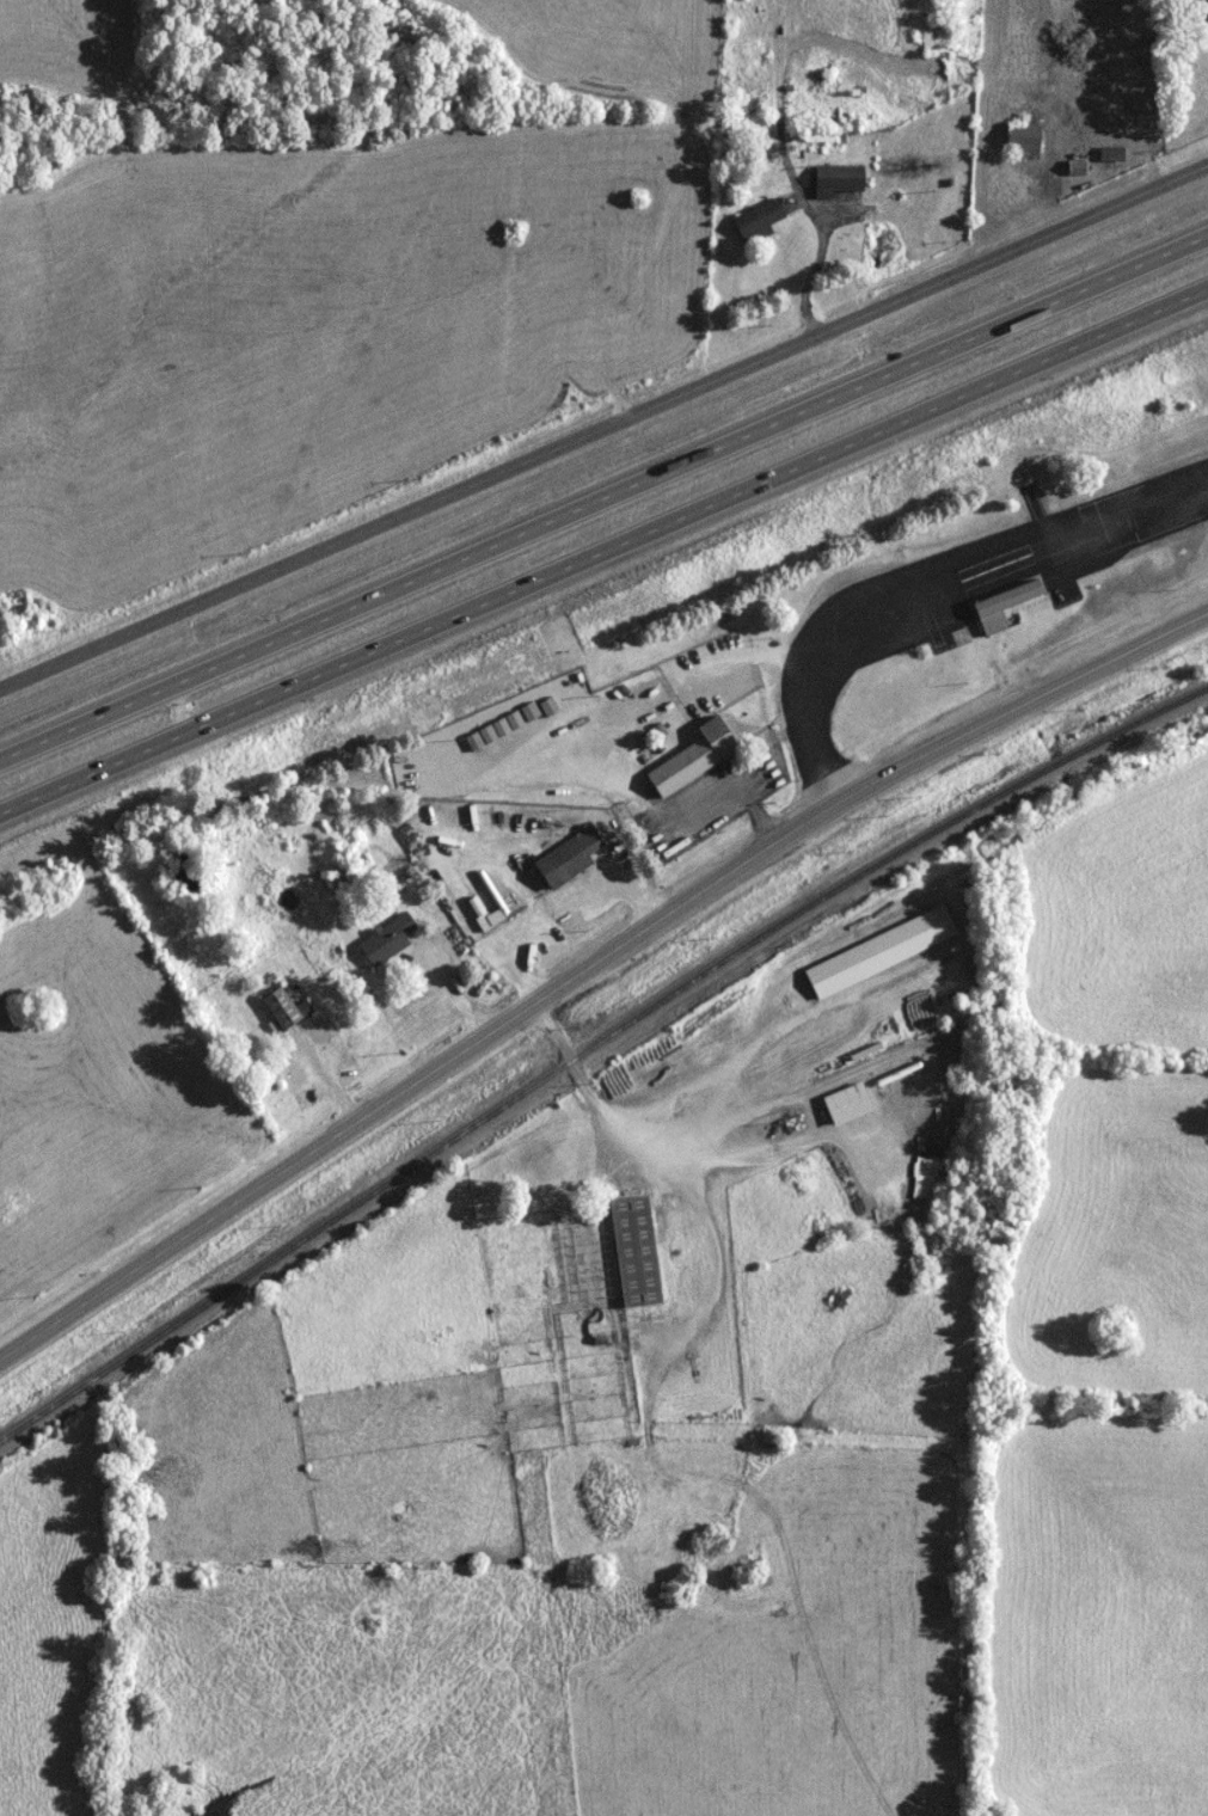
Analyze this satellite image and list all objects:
building: (1200, 8)
building: (938, 41)
building: (1024, 135)
building: (1114, 155)
building: (841, 182)
building: (760, 222)
road: (813, 270)
road: (602, 428)
road: (603, 511)
road: (603, 562)
road: (933, 575)
building: (1016, 600)
building: (540, 707)
road: (636, 726)
building: (502, 728)
building: (706, 754)
building: (581, 852)
building: (345, 875)
road: (568, 901)
crop: (1120, 924)
building: (400, 935)
building: (882, 953)
road: (590, 967)
road: (459, 987)
building: (294, 1004)
railway: (594, 1048)
road: (337, 1072)
building: (850, 1105)
road: (687, 1152)
crop: (1116, 1239)
building: (637, 1252)

